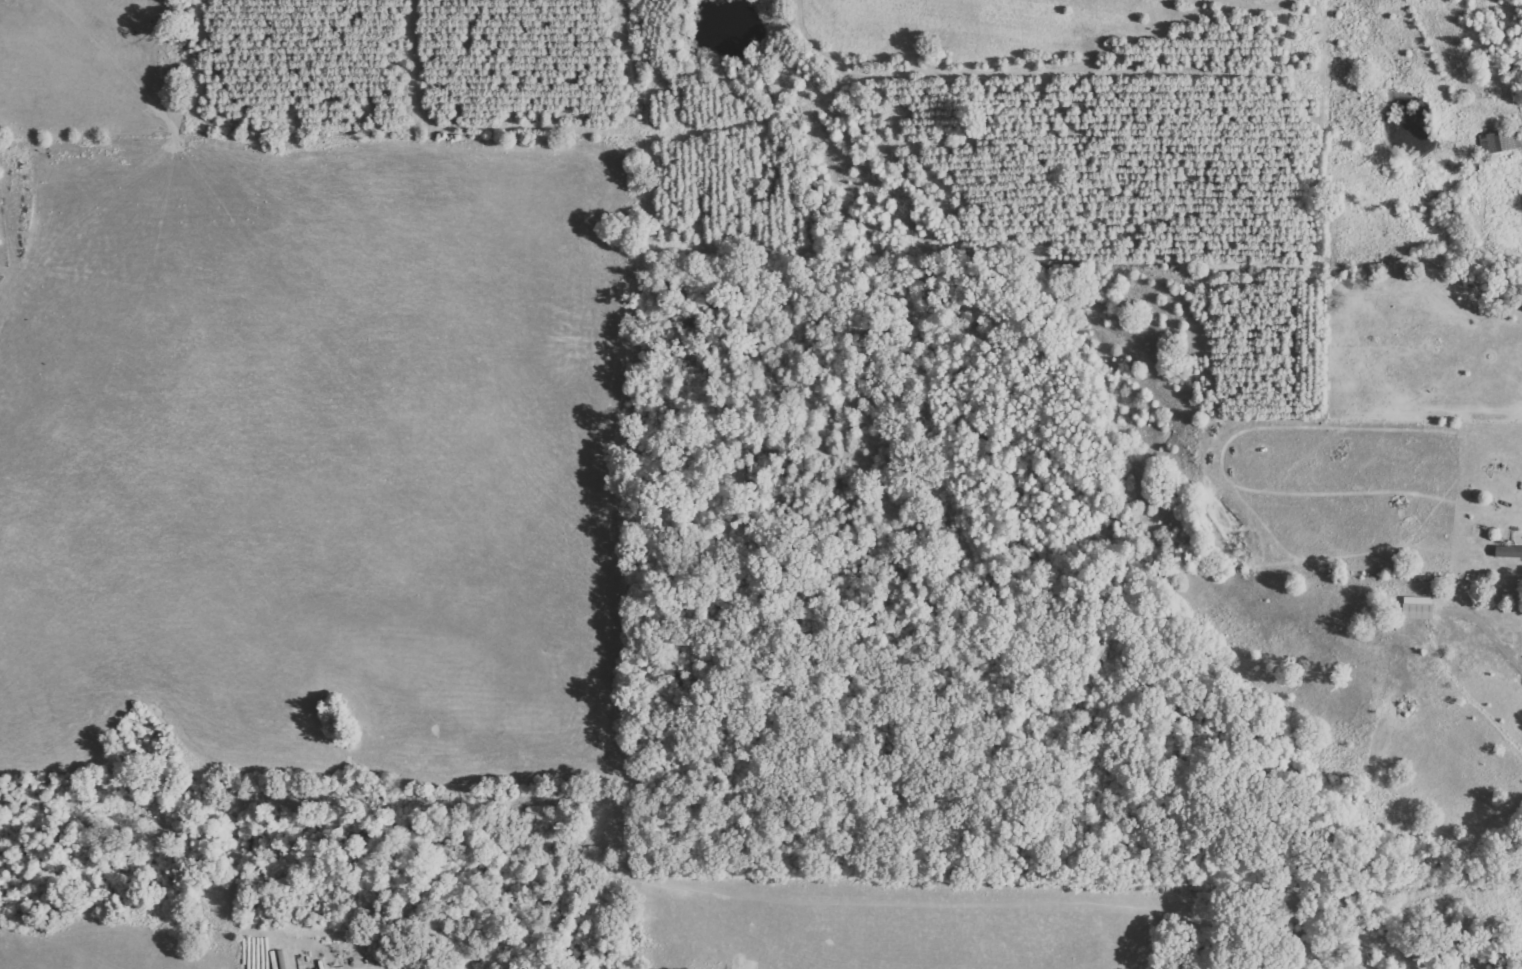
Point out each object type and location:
building: (1501, 143)
building: (1509, 552)
building: (1422, 608)

